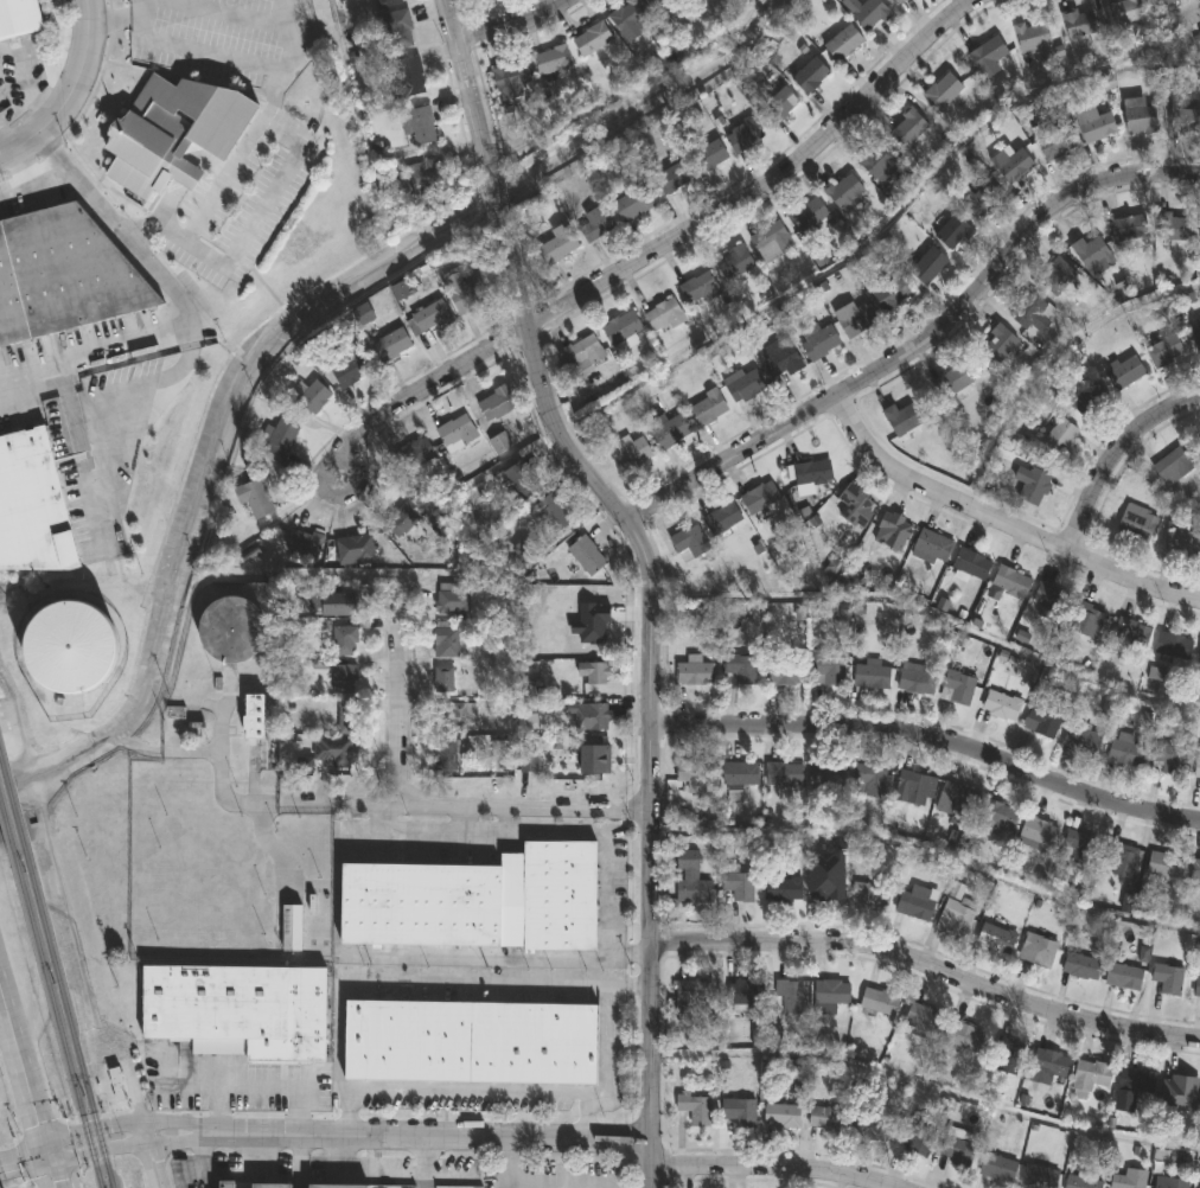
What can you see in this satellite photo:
building: (900, 1)
building: (389, 2)
building: (658, 2)
building: (1166, 2)
road: (142, 8)
building: (1128, 11)
road: (229, 12)
building: (867, 13)
building: (628, 17)
building: (18, 18)
road: (451, 18)
road: (503, 19)
road: (114, 21)
building: (1079, 25)
building: (398, 30)
building: (1033, 37)
building: (592, 40)
building: (843, 44)
building: (988, 56)
building: (553, 63)
road: (238, 64)
building: (810, 77)
building: (408, 78)
building: (510, 81)
road: (69, 90)
building: (943, 91)
building: (779, 107)
road: (472, 110)
building: (1141, 120)
building: (1185, 121)
building: (419, 127)
building: (1096, 127)
building: (908, 128)
building: (174, 132)
building: (745, 138)
building: (1055, 145)
parking lot: (274, 147)
building: (710, 155)
building: (876, 161)
road: (17, 166)
building: (1015, 166)
road: (52, 172)
road: (283, 179)
building: (428, 180)
building: (669, 181)
building: (844, 192)
building: (983, 202)
road: (494, 205)
building: (632, 205)
building: (808, 217)
building: (595, 224)
building: (1172, 229)
road: (879, 230)
building: (1129, 230)
building: (953, 234)
building: (771, 242)
building: (556, 247)
road: (657, 250)
building: (1092, 256)
building: (733, 264)
building: (927, 268)
building: (62, 273)
building: (1057, 279)
building: (400, 290)
building: (700, 290)
building: (464, 293)
building: (891, 295)
building: (1030, 313)
building: (663, 317)
road: (183, 319)
building: (430, 319)
building: (856, 321)
building: (621, 330)
road: (186, 337)
building: (1198, 339)
road: (920, 341)
building: (819, 344)
building: (391, 345)
building: (998, 345)
building: (1164, 353)
building: (583, 355)
road: (1055, 358)
building: (781, 359)
building: (349, 369)
building: (1125, 375)
building: (951, 383)
building: (743, 387)
building: (311, 400)
building: (1089, 401)
road: (78, 402)
building: (496, 405)
building: (707, 408)
building: (901, 420)
building: (671, 432)
building: (455, 434)
building: (1060, 439)
building: (279, 441)
building: (499, 445)
road: (1117, 454)
building: (415, 456)
building: (631, 456)
building: (1173, 467)
building: (812, 474)
building: (522, 481)
building: (1035, 488)
building: (760, 498)
building: (254, 499)
building: (853, 506)
building: (32, 507)
road: (471, 512)
building: (551, 515)
road: (1006, 517)
building: (402, 519)
building: (721, 519)
building: (1136, 524)
building: (894, 531)
road: (1164, 531)
building: (690, 544)
building: (1182, 544)
building: (931, 548)
building: (355, 549)
building: (586, 556)
building: (971, 566)
building: (1010, 583)
building: (452, 601)
building: (1047, 601)
building: (337, 605)
road: (930, 617)
building: (1086, 621)
building: (230, 628)
storage tank: (230, 628)
building: (1130, 634)
building: (588, 639)
building: (344, 641)
building: (446, 641)
building: (70, 645)
storage tank: (70, 645)
building: (1173, 647)
building: (1199, 656)
building: (828, 669)
building: (745, 671)
building: (593, 672)
building: (784, 673)
building: (694, 675)
building: (870, 677)
building: (442, 679)
building: (344, 681)
building: (914, 683)
building: (958, 684)
road: (650, 686)
road: (402, 691)
building: (1000, 705)
building: (175, 713)
building: (254, 715)
building: (346, 718)
building: (452, 718)
building: (591, 718)
building: (1041, 721)
road: (931, 733)
building: (1081, 740)
building: (333, 751)
building: (1123, 751)
building: (443, 755)
building: (1169, 760)
building: (1198, 765)
building: (783, 774)
building: (822, 774)
building: (740, 775)
building: (692, 777)
building: (870, 780)
building: (913, 788)
railway: (12, 796)
building: (956, 801)
road: (448, 806)
railway: (7, 826)
building: (1039, 831)
road: (930, 845)
building: (1079, 847)
building: (1121, 858)
building: (1164, 866)
building: (1195, 870)
building: (690, 879)
building: (738, 886)
building: (830, 888)
building: (783, 889)
building: (870, 894)
building: (475, 900)
building: (914, 902)
road: (608, 913)
building: (955, 918)
building: (291, 928)
building: (994, 938)
building: (1038, 951)
road: (927, 965)
building: (1080, 966)
road: (615, 969)
building: (1123, 976)
building: (1167, 978)
building: (1196, 989)
building: (746, 994)
building: (691, 997)
building: (790, 997)
building: (828, 998)
building: (879, 1002)
building: (236, 1011)
railway: (68, 1016)
building: (921, 1018)
railway: (57, 1021)
road: (608, 1028)
building: (964, 1036)
building: (470, 1041)
building: (1007, 1058)
building: (1049, 1062)
building: (1090, 1075)
building: (1134, 1086)
road: (177, 1087)
road: (257, 1087)
road: (30, 1088)
parking lot: (346, 1088)
road: (925, 1088)
building: (114, 1090)
road: (445, 1091)
building: (1181, 1093)
building: (695, 1109)
building: (739, 1112)
road: (588, 1116)
building: (781, 1117)
building: (825, 1119)
building: (870, 1125)
road: (323, 1135)
building: (915, 1135)
building: (956, 1145)
traffic signals: (50, 1154)
road: (148, 1161)
road: (509, 1162)
road: (775, 1167)
building: (998, 1168)
building: (1039, 1176)
building: (1080, 1182)
building: (1126, 1182)
building: (1170, 1182)
road: (74, 1184)
building: (224, 1186)
building: (270, 1186)
building: (334, 1186)
building: (1198, 1187)

